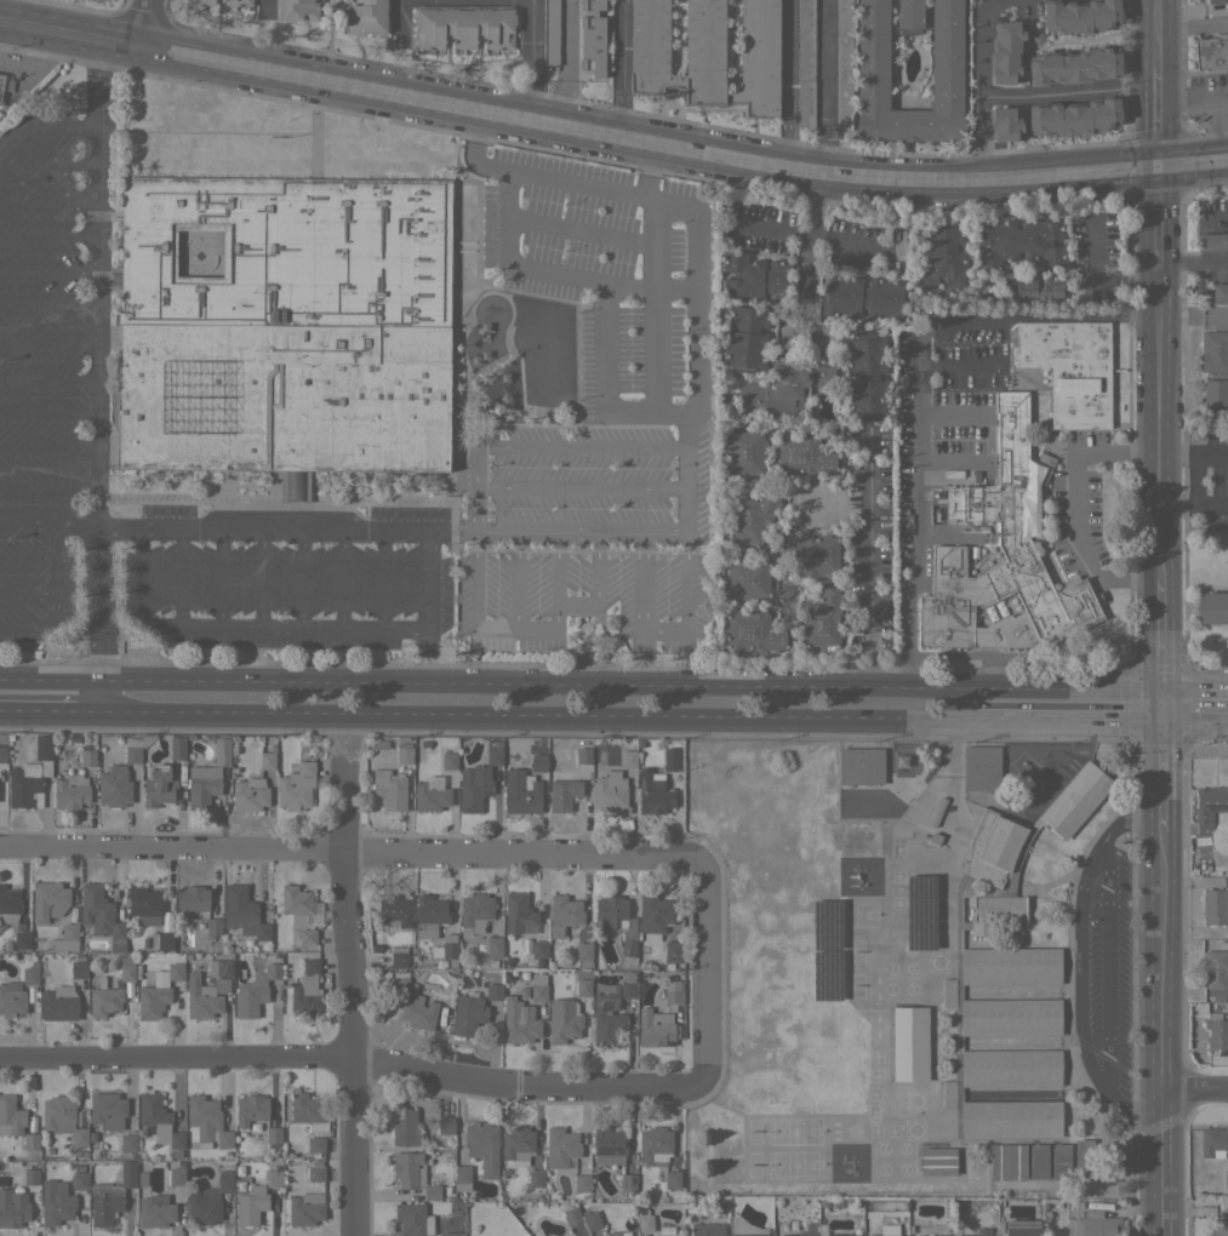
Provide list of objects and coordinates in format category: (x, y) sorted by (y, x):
building: (1216, 1)
building: (200, 2)
building: (238, 2)
road: (267, 8)
building: (264, 10)
building: (296, 10)
road: (398, 15)
building: (367, 16)
building: (1079, 16)
building: (783, 23)
road: (147, 24)
building: (463, 25)
building: (550, 32)
building: (843, 34)
road: (1158, 34)
building: (592, 38)
building: (1005, 51)
building: (707, 53)
building: (1211, 55)
road: (531, 56)
road: (565, 58)
building: (805, 63)
road: (619, 64)
road: (823, 65)
building: (1073, 65)
building: (872, 71)
road: (784, 79)
road: (979, 82)
building: (2, 85)
road: (1046, 91)
road: (1193, 99)
building: (843, 103)
road: (519, 109)
road: (1158, 113)
building: (1073, 118)
building: (1004, 124)
road: (1216, 126)
road: (45, 127)
road: (821, 148)
road: (1193, 155)
traffic signals: (1158, 159)
road: (1098, 162)
road: (47, 164)
road: (531, 173)
road: (47, 198)
road: (1159, 213)
road: (1216, 218)
road: (656, 219)
road: (809, 233)
road: (47, 235)
road: (816, 236)
building: (1212, 241)
building: (1017, 242)
road: (656, 252)
road: (1194, 259)
building: (941, 261)
road: (48, 271)
building: (753, 277)
road: (651, 284)
building: (1033, 287)
building: (1220, 293)
road: (605, 294)
building: (862, 297)
road: (48, 305)
road: (699, 315)
building: (285, 327)
building: (744, 338)
road: (48, 342)
building: (1213, 350)
road: (97, 360)
building: (1070, 368)
road: (48, 374)
building: (866, 376)
road: (919, 387)
building: (782, 388)
building: (495, 390)
building: (1213, 401)
road: (48, 412)
road: (1160, 425)
road: (48, 446)
road: (562, 446)
building: (744, 453)
building: (803, 456)
road: (1193, 456)
road: (48, 486)
road: (582, 486)
road: (1193, 505)
road: (475, 508)
road: (1075, 508)
building: (752, 516)
building: (999, 519)
road: (48, 525)
road: (286, 528)
road: (582, 531)
building: (810, 554)
road: (27, 557)
road: (53, 559)
road: (868, 562)
road: (141, 574)
road: (179, 576)
road: (221, 577)
road: (262, 577)
road: (303, 577)
road: (341, 578)
road: (556, 578)
building: (747, 578)
road: (383, 579)
road: (474, 579)
road: (516, 579)
road: (598, 588)
road: (27, 590)
road: (686, 603)
road: (428, 606)
building: (1212, 607)
road: (641, 608)
road: (53, 610)
building: (819, 620)
road: (284, 625)
road: (27, 626)
road: (515, 628)
building: (752, 631)
road: (1160, 635)
road: (51, 680)
road: (630, 685)
traffic signals: (1160, 691)
road: (1194, 691)
road: (102, 696)
road: (1160, 706)
road: (51, 710)
road: (538, 715)
road: (1067, 721)
traffic signals: (1161, 722)
road: (1194, 722)
building: (73, 738)
building: (259, 738)
building: (401, 738)
building: (427, 744)
building: (381, 745)
building: (639, 745)
building: (177, 748)
building: (132, 749)
building: (221, 749)
building: (2, 750)
building: (583, 750)
building: (42, 753)
building: (404, 753)
building: (493, 754)
building: (87, 756)
building: (627, 759)
building: (265, 760)
building: (449, 761)
building: (538, 762)
building: (901, 762)
building: (857, 766)
building: (979, 767)
building: (674, 779)
building: (201, 784)
building: (657, 784)
building: (23, 786)
building: (114, 786)
building: (158, 786)
building: (296, 786)
building: (611, 786)
building: (474, 788)
building: (562, 788)
building: (389, 789)
building: (70, 791)
building: (520, 791)
building: (249, 794)
building: (430, 794)
building: (1073, 801)
road: (953, 805)
building: (1207, 806)
building: (936, 811)
road: (1103, 835)
building: (933, 839)
building: (1021, 845)
building: (988, 849)
road: (349, 854)
building: (937, 887)
rooftop solar panel: (931, 888)
building: (192, 899)
building: (48, 900)
building: (296, 903)
building: (143, 904)
rooftop solar panel: (916, 904)
building: (8, 905)
building: (1213, 905)
building: (394, 909)
building: (565, 910)
building: (242, 912)
building: (474, 912)
building: (518, 912)
building: (101, 915)
building: (429, 915)
building: (653, 915)
rooftop solar panel: (824, 915)
building: (994, 915)
rooftop solar panel: (929, 917)
building: (616, 920)
building: (212, 927)
building: (556, 931)
rooftop solar panel: (827, 935)
building: (307, 937)
building: (64, 938)
rooftop solar panel: (916, 938)
rooftop solar panel: (930, 938)
building: (21, 940)
building: (161, 940)
building: (143, 943)
building: (5, 946)
building: (445, 946)
building: (493, 946)
building: (375, 948)
building: (538, 951)
building: (583, 954)
building: (669, 954)
building: (398, 956)
road: (1107, 960)
building: (507, 962)
building: (451, 963)
building: (491, 963)
rooftop solar panel: (827, 963)
building: (221, 965)
building: (78, 967)
building: (1009, 967)
building: (1216, 971)
building: (126, 972)
building: (29, 975)
road: (695, 975)
road: (1165, 979)
building: (399, 982)
building: (538, 986)
building: (627, 986)
building: (583, 988)
rooftop solar panel: (828, 988)
building: (158, 991)
building: (253, 991)
building: (307, 991)
building: (493, 991)
building: (673, 991)
building: (947, 992)
building: (30, 995)
building: (204, 996)
road: (1078, 997)
building: (103, 998)
building: (11, 1000)
road: (348, 1000)
building: (57, 1006)
building: (417, 1012)
building: (525, 1013)
building: (467, 1014)
building: (606, 1017)
building: (1009, 1018)
building: (564, 1019)
building: (655, 1028)
building: (520, 1029)
building: (1216, 1031)
building: (908, 1042)
road: (347, 1057)
building: (1009, 1068)
road: (1198, 1087)
building: (947, 1094)
building: (251, 1109)
building: (107, 1110)
building: (308, 1111)
road: (1135, 1112)
building: (11, 1116)
building: (63, 1118)
building: (79, 1118)
building: (198, 1120)
building: (1011, 1120)
building: (156, 1121)
building: (444, 1125)
building: (404, 1127)
road: (218, 1129)
building: (273, 1134)
building: (30, 1140)
building: (222, 1140)
building: (1213, 1140)
building: (127, 1143)
building: (315, 1144)
building: (655, 1144)
building: (11, 1145)
building: (516, 1145)
building: (607, 1145)
building: (482, 1146)
building: (561, 1148)
building: (175, 1154)
building: (131, 1155)
building: (937, 1161)
building: (1007, 1161)
building: (1038, 1161)
building: (1059, 1161)
building: (1085, 1161)
building: (239, 1171)
building: (315, 1173)
building: (412, 1173)
building: (127, 1174)
building: (30, 1175)
building: (273, 1175)
building: (173, 1177)
building: (462, 1178)
building: (535, 1178)
building: (1226, 1178)
building: (141, 1179)
building: (672, 1179)
building: (79, 1180)
building: (224, 1180)
building: (4, 1181)
building: (628, 1181)
building: (581, 1183)
building: (240, 1186)
building: (821, 1201)
building: (55, 1203)
building: (103, 1203)
building: (1056, 1203)
building: (1072, 1203)
building: (250, 1204)
building: (1079, 1204)
building: (12, 1207)
building: (202, 1207)
building: (305, 1208)
building: (155, 1211)
building: (571, 1215)
building: (224, 1217)
building: (412, 1219)
building: (590, 1219)
building: (821, 1219)
building: (645, 1223)
building: (790, 1224)
building: (1095, 1224)
building: (746, 1228)
building: (1019, 1228)
building: (707, 1229)
building: (1218, 1229)
building: (664, 1230)
building: (805, 1230)
building: (592, 1232)
building: (450, 1234)
building: (642, 1235)
building: (843, 1235)
building: (885, 1235)
building: (930, 1235)
building: (972, 1235)

